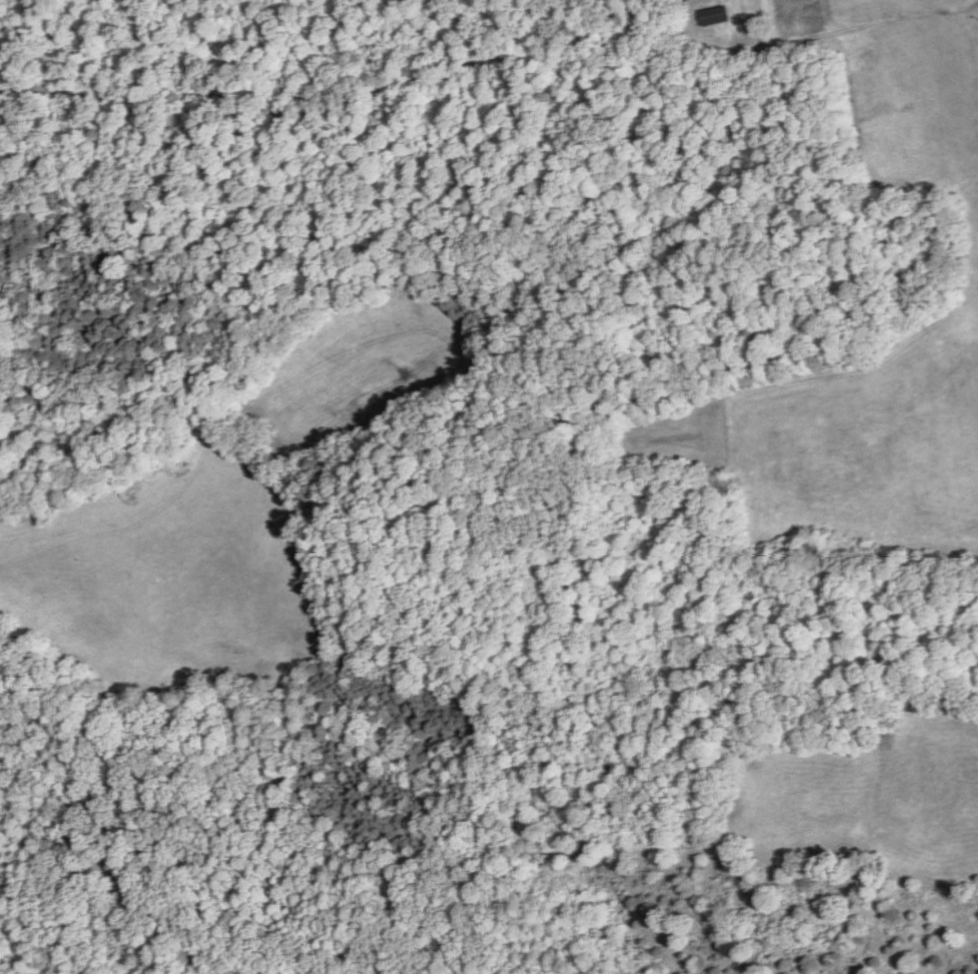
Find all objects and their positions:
building: (710, 16)
road: (835, 32)

